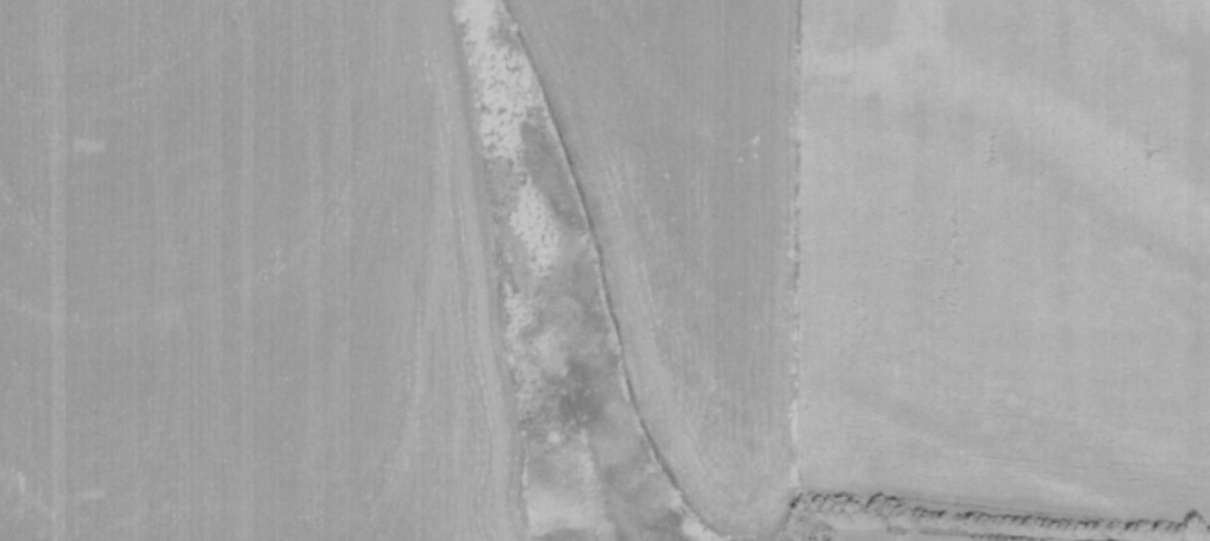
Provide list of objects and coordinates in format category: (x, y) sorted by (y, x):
crop: (1004, 252)

